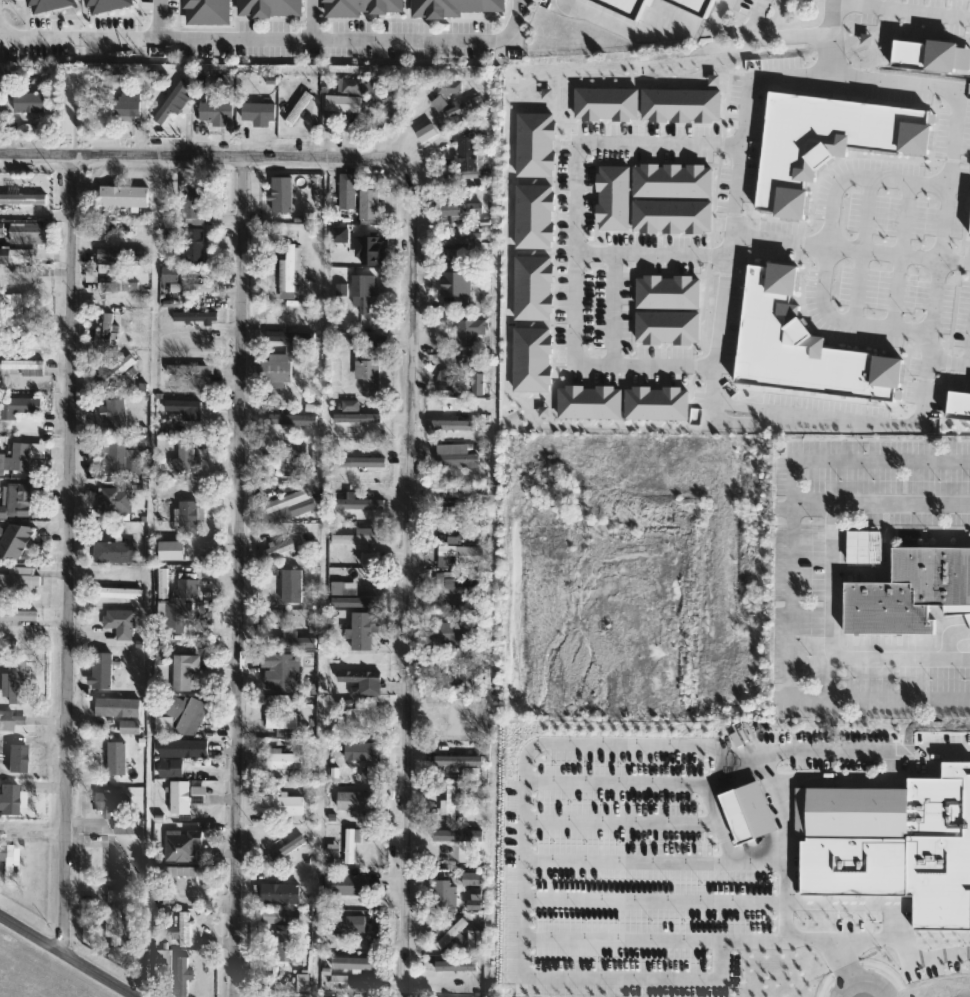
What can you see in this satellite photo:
building: (47, 4)
building: (108, 5)
building: (358, 6)
building: (453, 6)
building: (696, 6)
parking lot: (170, 7)
building: (269, 7)
building: (621, 7)
road: (902, 9)
building: (208, 11)
road: (158, 18)
road: (313, 19)
parking lot: (261, 26)
parking lot: (409, 28)
road: (626, 31)
road: (728, 32)
road: (774, 34)
road: (75, 37)
road: (831, 37)
road: (350, 39)
parking lot: (239, 50)
parking lot: (404, 52)
building: (923, 55)
building: (449, 85)
building: (28, 100)
building: (171, 101)
building: (343, 101)
building: (123, 104)
building: (463, 105)
road: (75, 110)
building: (221, 113)
building: (827, 137)
building: (467, 152)
road: (741, 153)
building: (347, 189)
building: (123, 194)
building: (23, 197)
building: (287, 197)
building: (368, 202)
building: (458, 209)
building: (1, 226)
building: (969, 232)
building: (26, 233)
building: (459, 240)
road: (577, 241)
road: (829, 244)
road: (852, 248)
building: (360, 250)
building: (16, 253)
building: (116, 253)
road: (654, 255)
building: (289, 266)
building: (23, 271)
building: (170, 271)
building: (120, 284)
building: (193, 285)
building: (362, 289)
building: (11, 313)
building: (195, 314)
building: (32, 327)
building: (106, 327)
building: (471, 331)
building: (282, 334)
building: (801, 345)
road: (969, 358)
road: (949, 361)
building: (22, 362)
building: (118, 365)
building: (279, 365)
building: (189, 367)
building: (368, 369)
road: (409, 377)
building: (456, 381)
building: (182, 403)
building: (350, 403)
building: (958, 403)
building: (18, 405)
building: (116, 411)
building: (355, 416)
building: (289, 417)
building: (452, 425)
building: (455, 453)
building: (20, 455)
building: (114, 457)
building: (284, 458)
building: (185, 459)
building: (362, 460)
building: (16, 499)
building: (115, 500)
building: (291, 501)
building: (360, 502)
building: (190, 510)
building: (16, 539)
building: (280, 546)
road: (68, 549)
building: (115, 551)
building: (460, 555)
building: (347, 567)
road: (239, 574)
building: (18, 578)
road: (793, 579)
road: (833, 580)
building: (455, 582)
building: (187, 586)
building: (117, 591)
building: (910, 591)
building: (281, 599)
building: (18, 614)
building: (458, 632)
building: (97, 668)
building: (183, 668)
building: (361, 680)
building: (17, 681)
building: (117, 705)
building: (186, 712)
building: (360, 714)
building: (12, 719)
building: (282, 721)
building: (457, 721)
building: (164, 722)
building: (129, 725)
building: (182, 746)
building: (17, 749)
building: (359, 752)
building: (117, 757)
building: (283, 758)
building: (458, 759)
road: (774, 761)
building: (170, 768)
building: (184, 794)
building: (8, 797)
building: (356, 799)
building: (109, 800)
building: (450, 802)
building: (284, 804)
building: (890, 810)
building: (128, 823)
building: (350, 841)
building: (182, 844)
building: (286, 844)
building: (448, 844)
road: (658, 859)
building: (6, 860)
building: (183, 874)
building: (472, 878)
road: (898, 878)
building: (348, 883)
building: (280, 892)
road: (790, 892)
building: (445, 895)
road: (656, 899)
building: (112, 915)
building: (282, 915)
building: (342, 924)
road: (523, 924)
building: (184, 927)
building: (445, 931)
road: (891, 932)
road: (626, 936)
building: (476, 940)
building: (286, 942)
road: (70, 953)
building: (352, 962)
building: (182, 976)
road: (865, 979)

